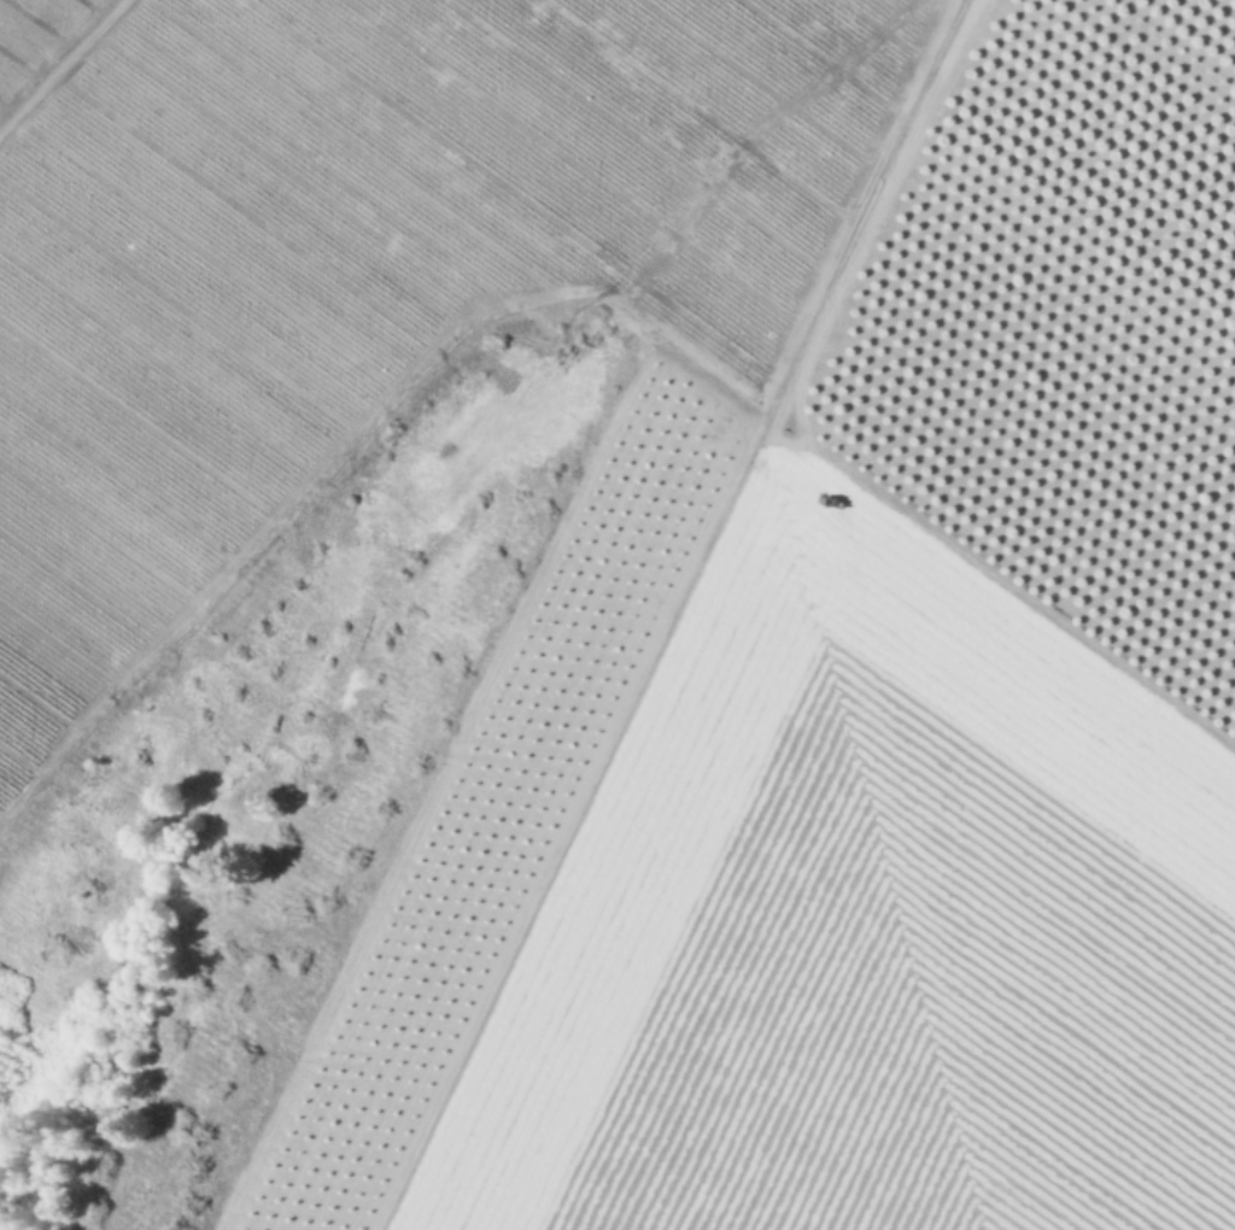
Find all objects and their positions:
crop: (531, 669)

